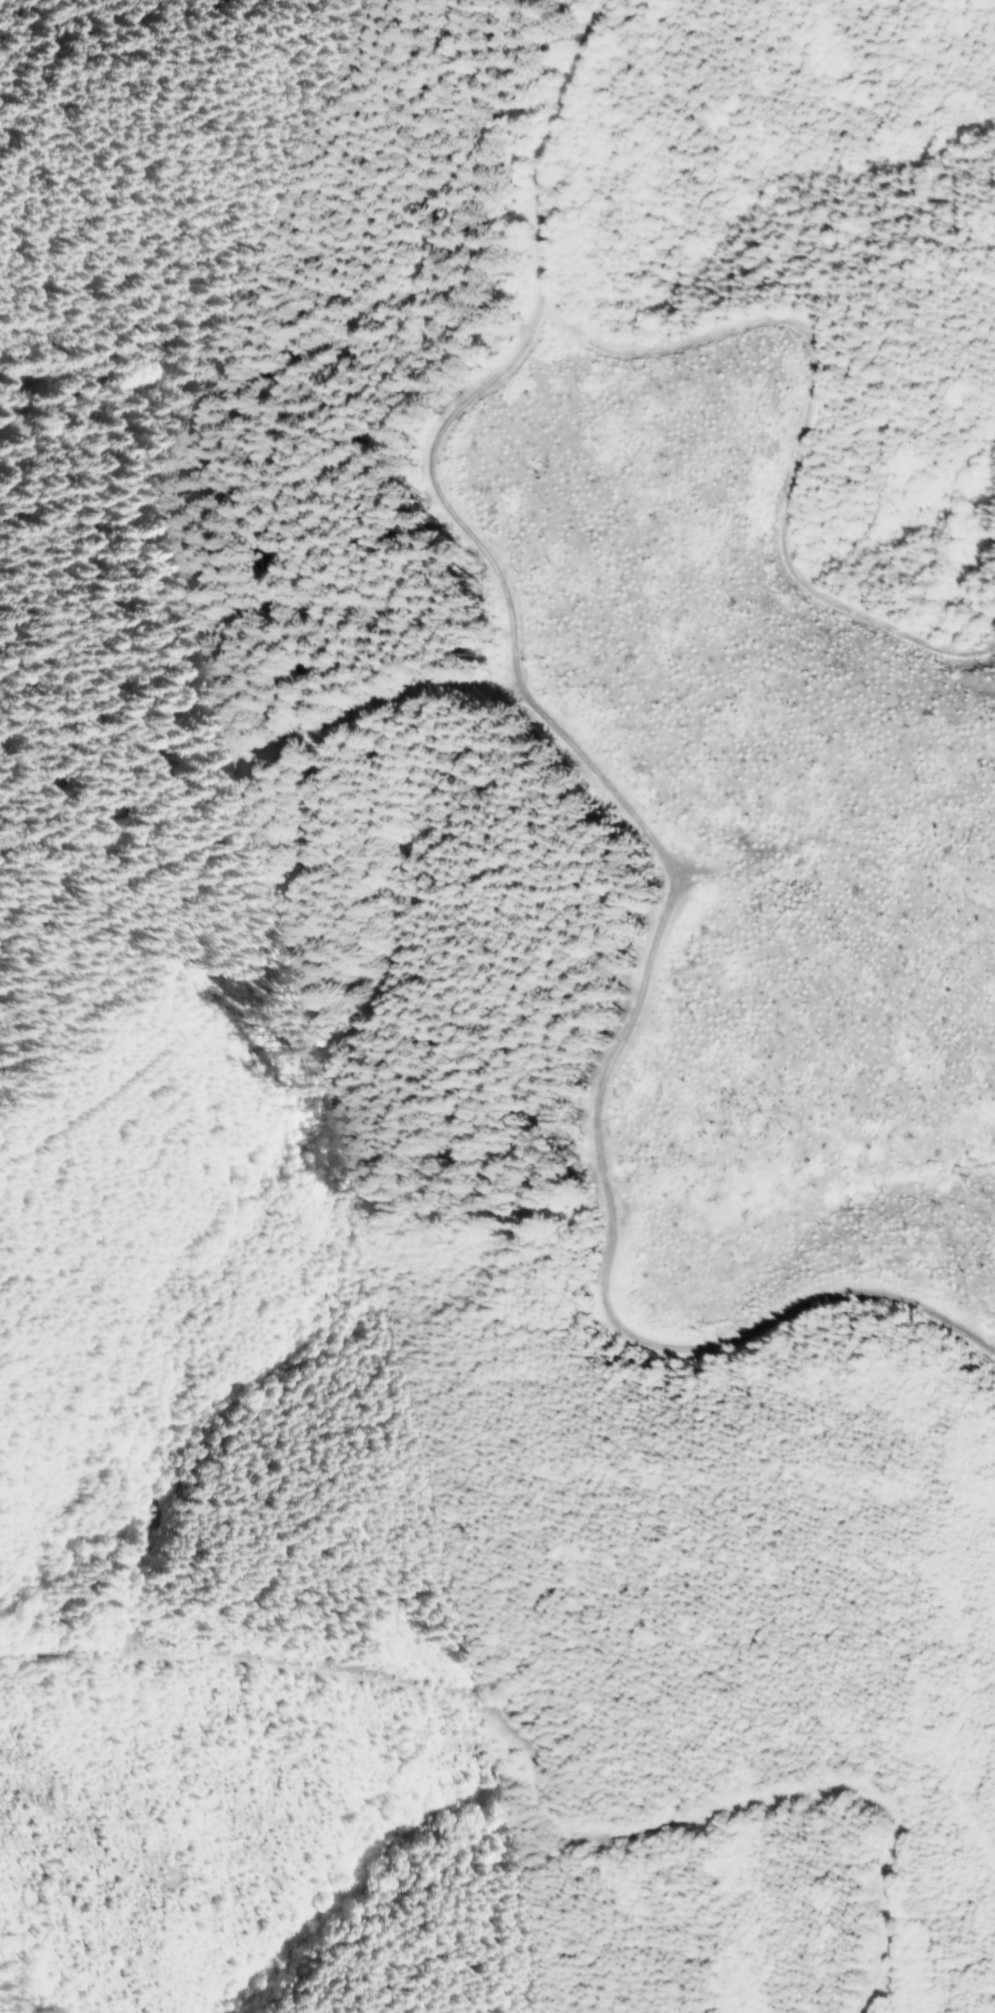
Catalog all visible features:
road: (733, 363)

